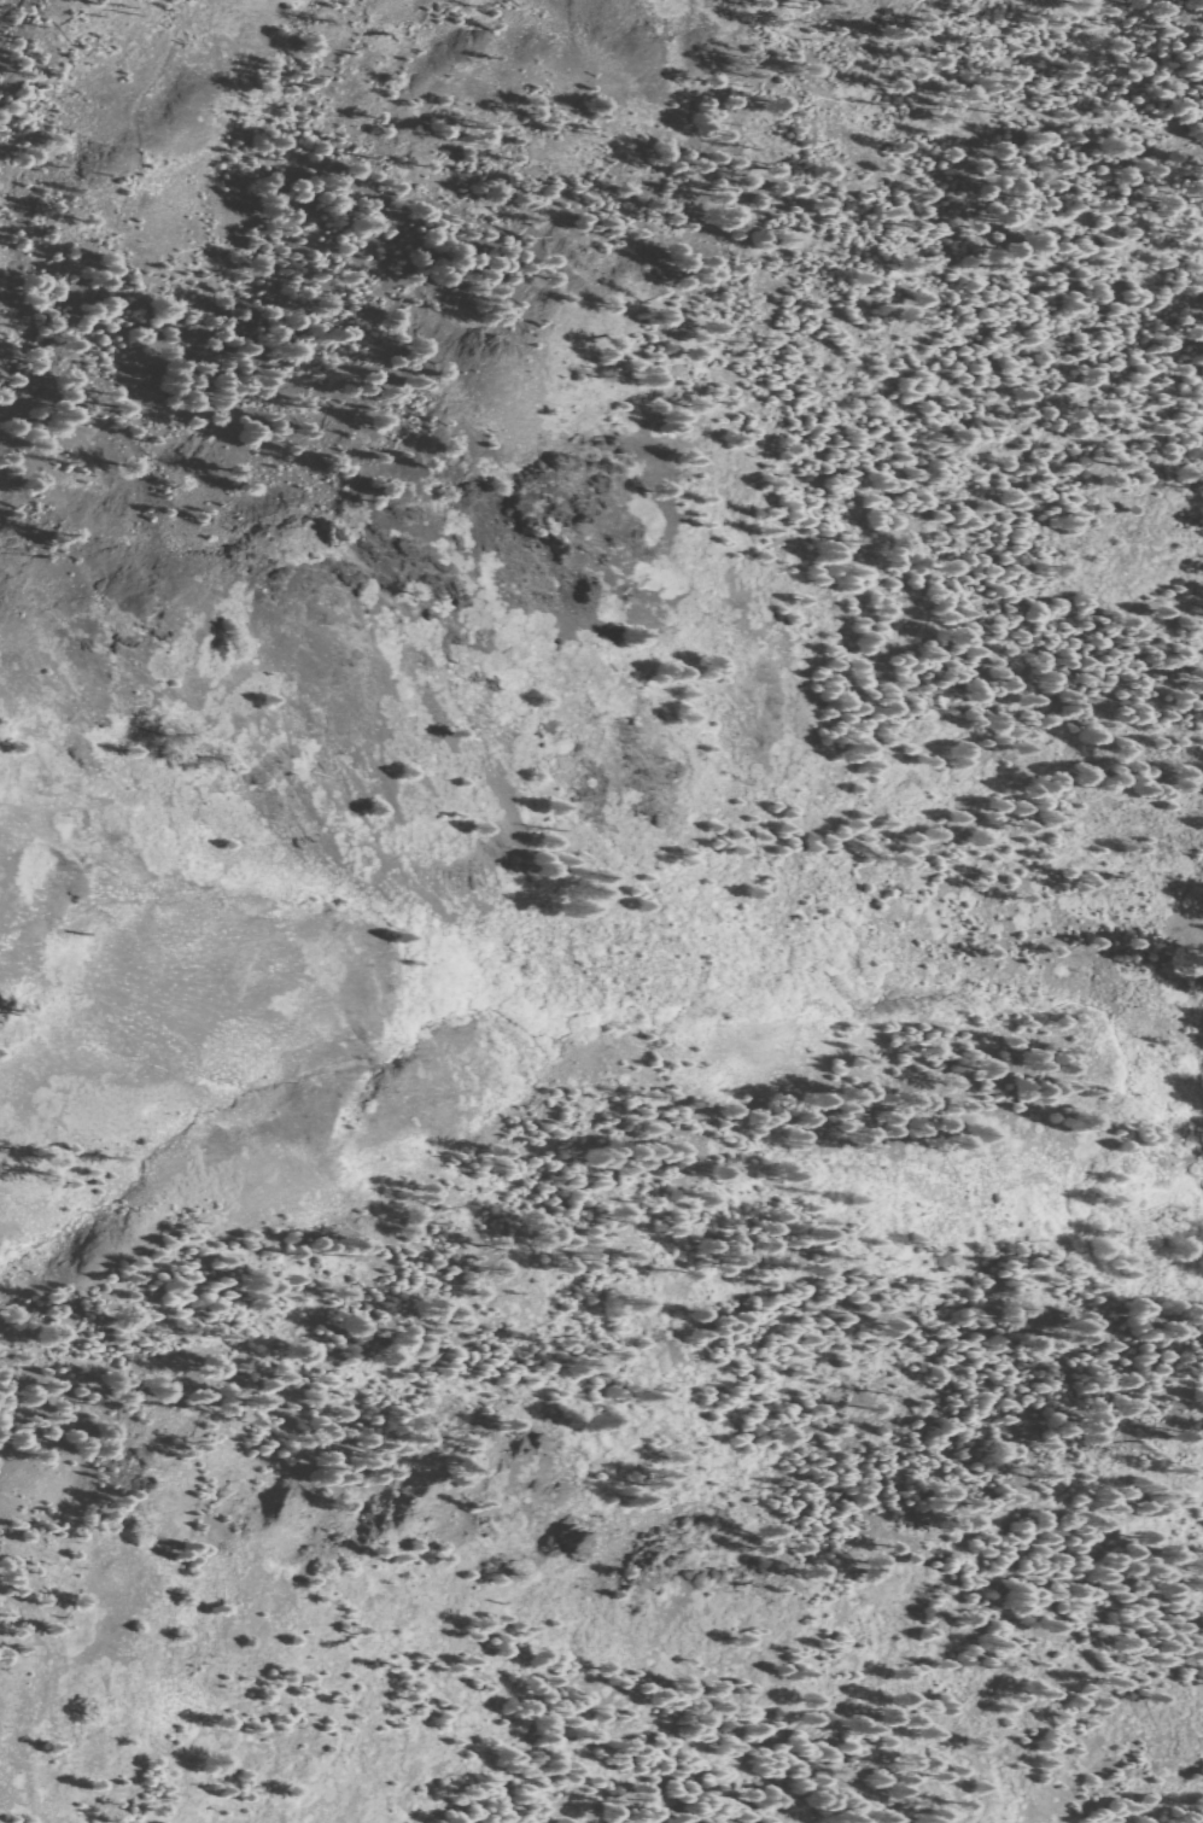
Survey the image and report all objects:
road: (947, 82)
road: (1192, 130)
road: (1192, 146)

